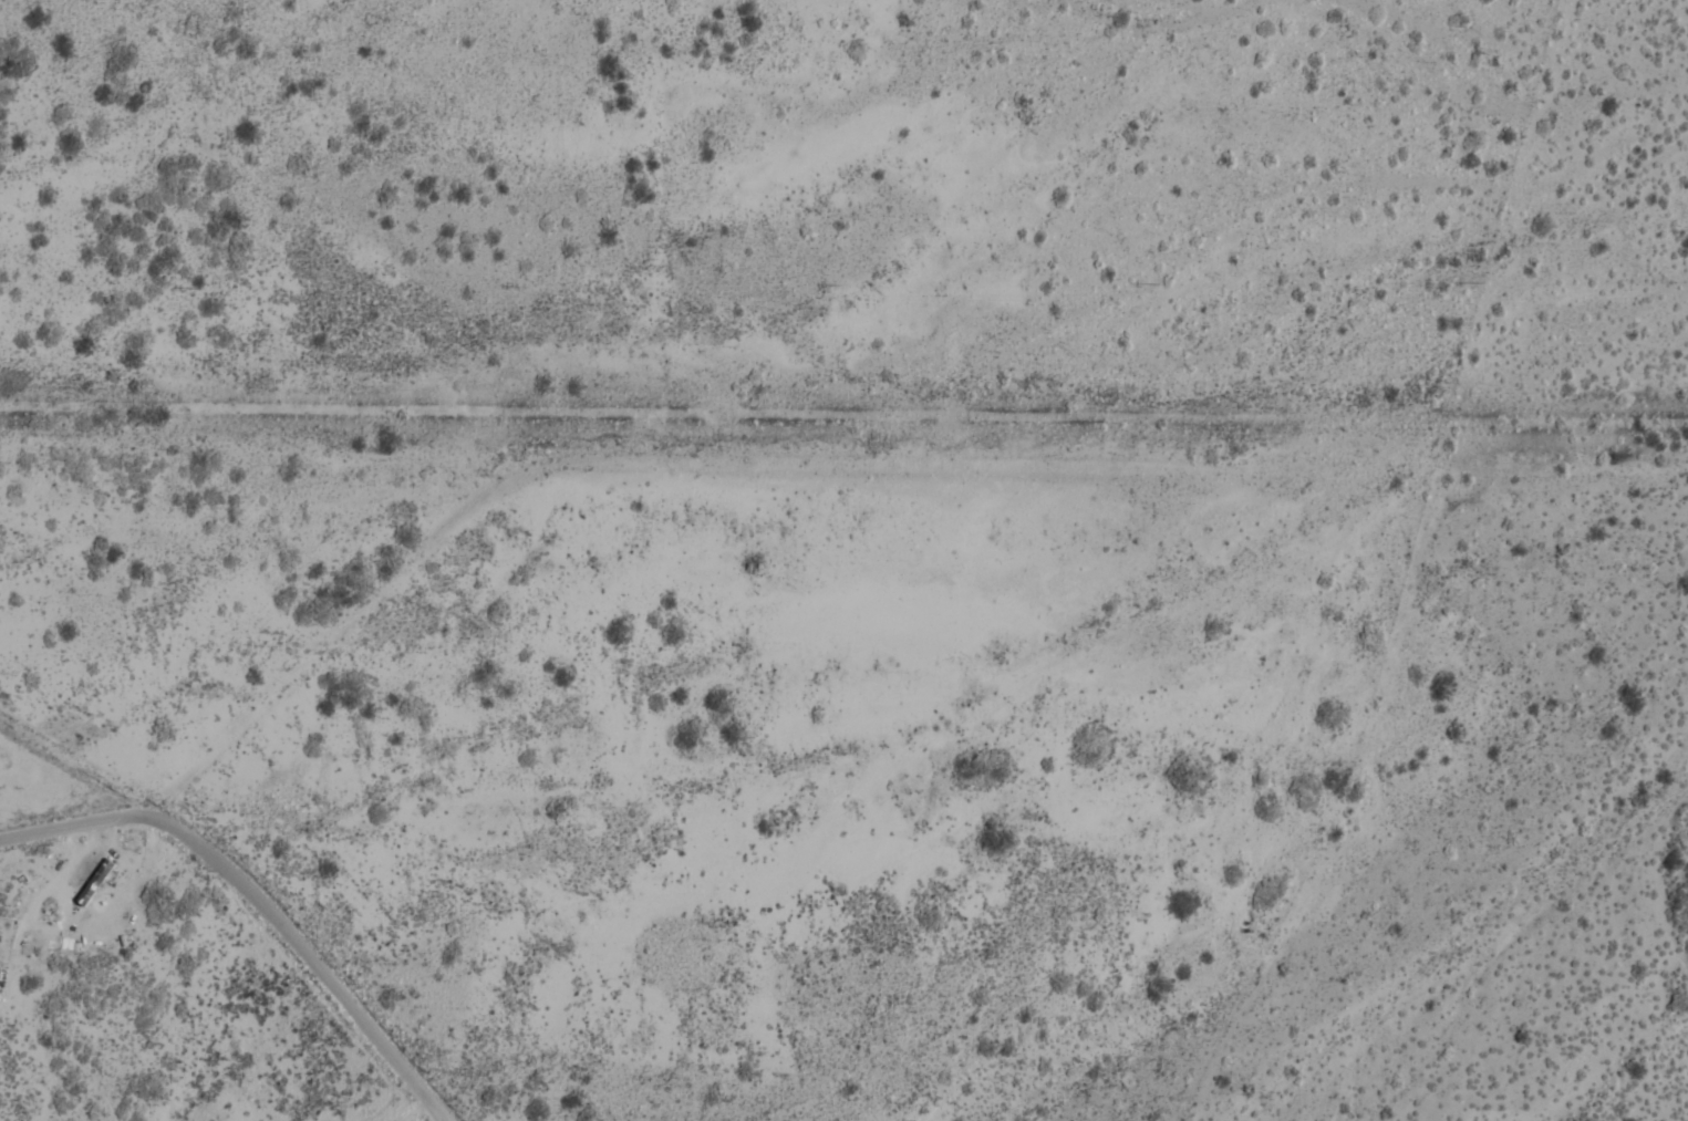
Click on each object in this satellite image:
building: (94, 884)
road: (170, 1097)

